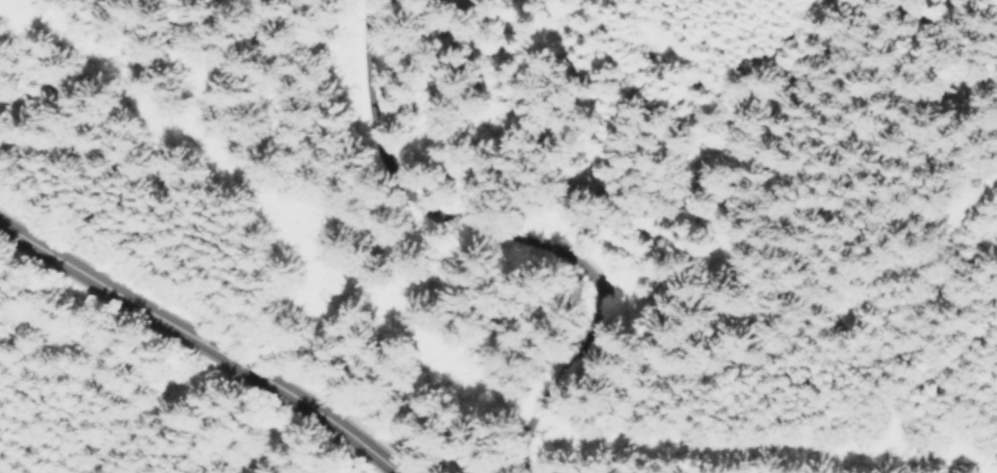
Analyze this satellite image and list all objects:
road: (500, 237)
road: (197, 342)

